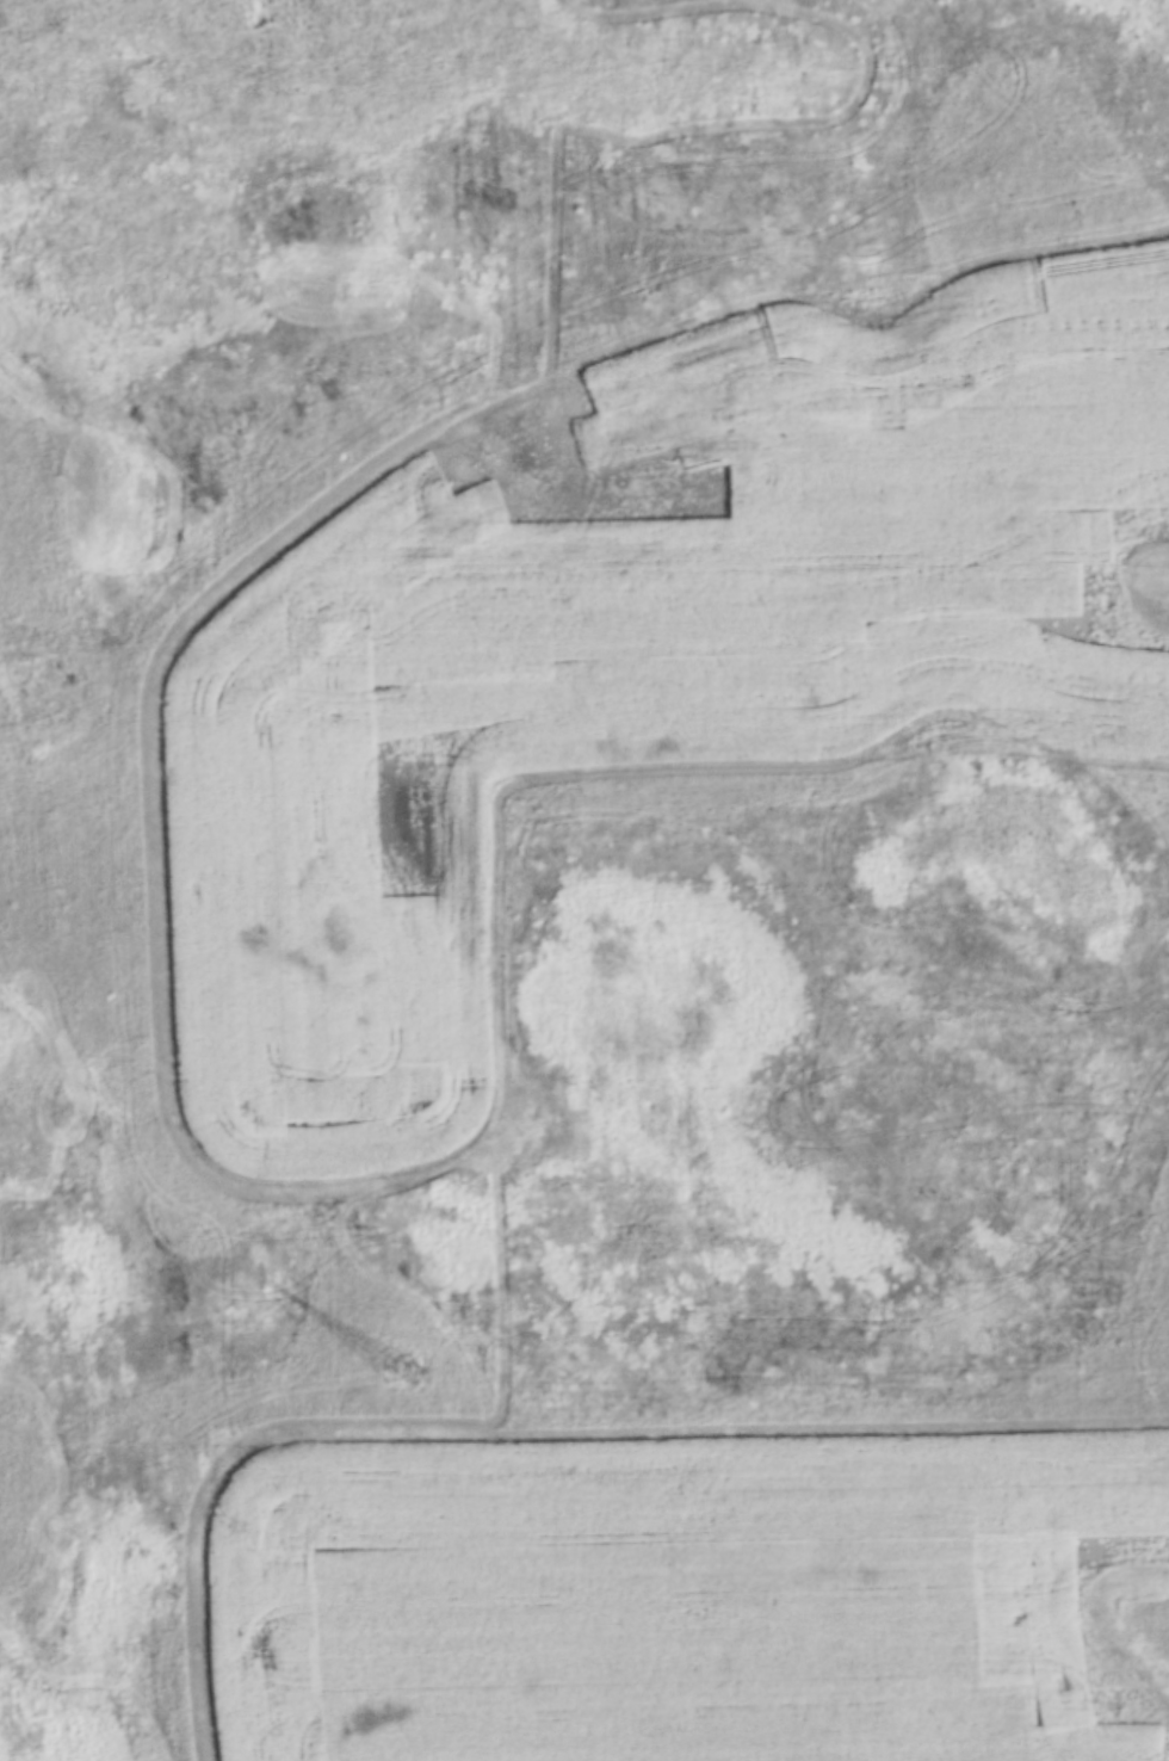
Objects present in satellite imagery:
power tower: (396, 1370)

